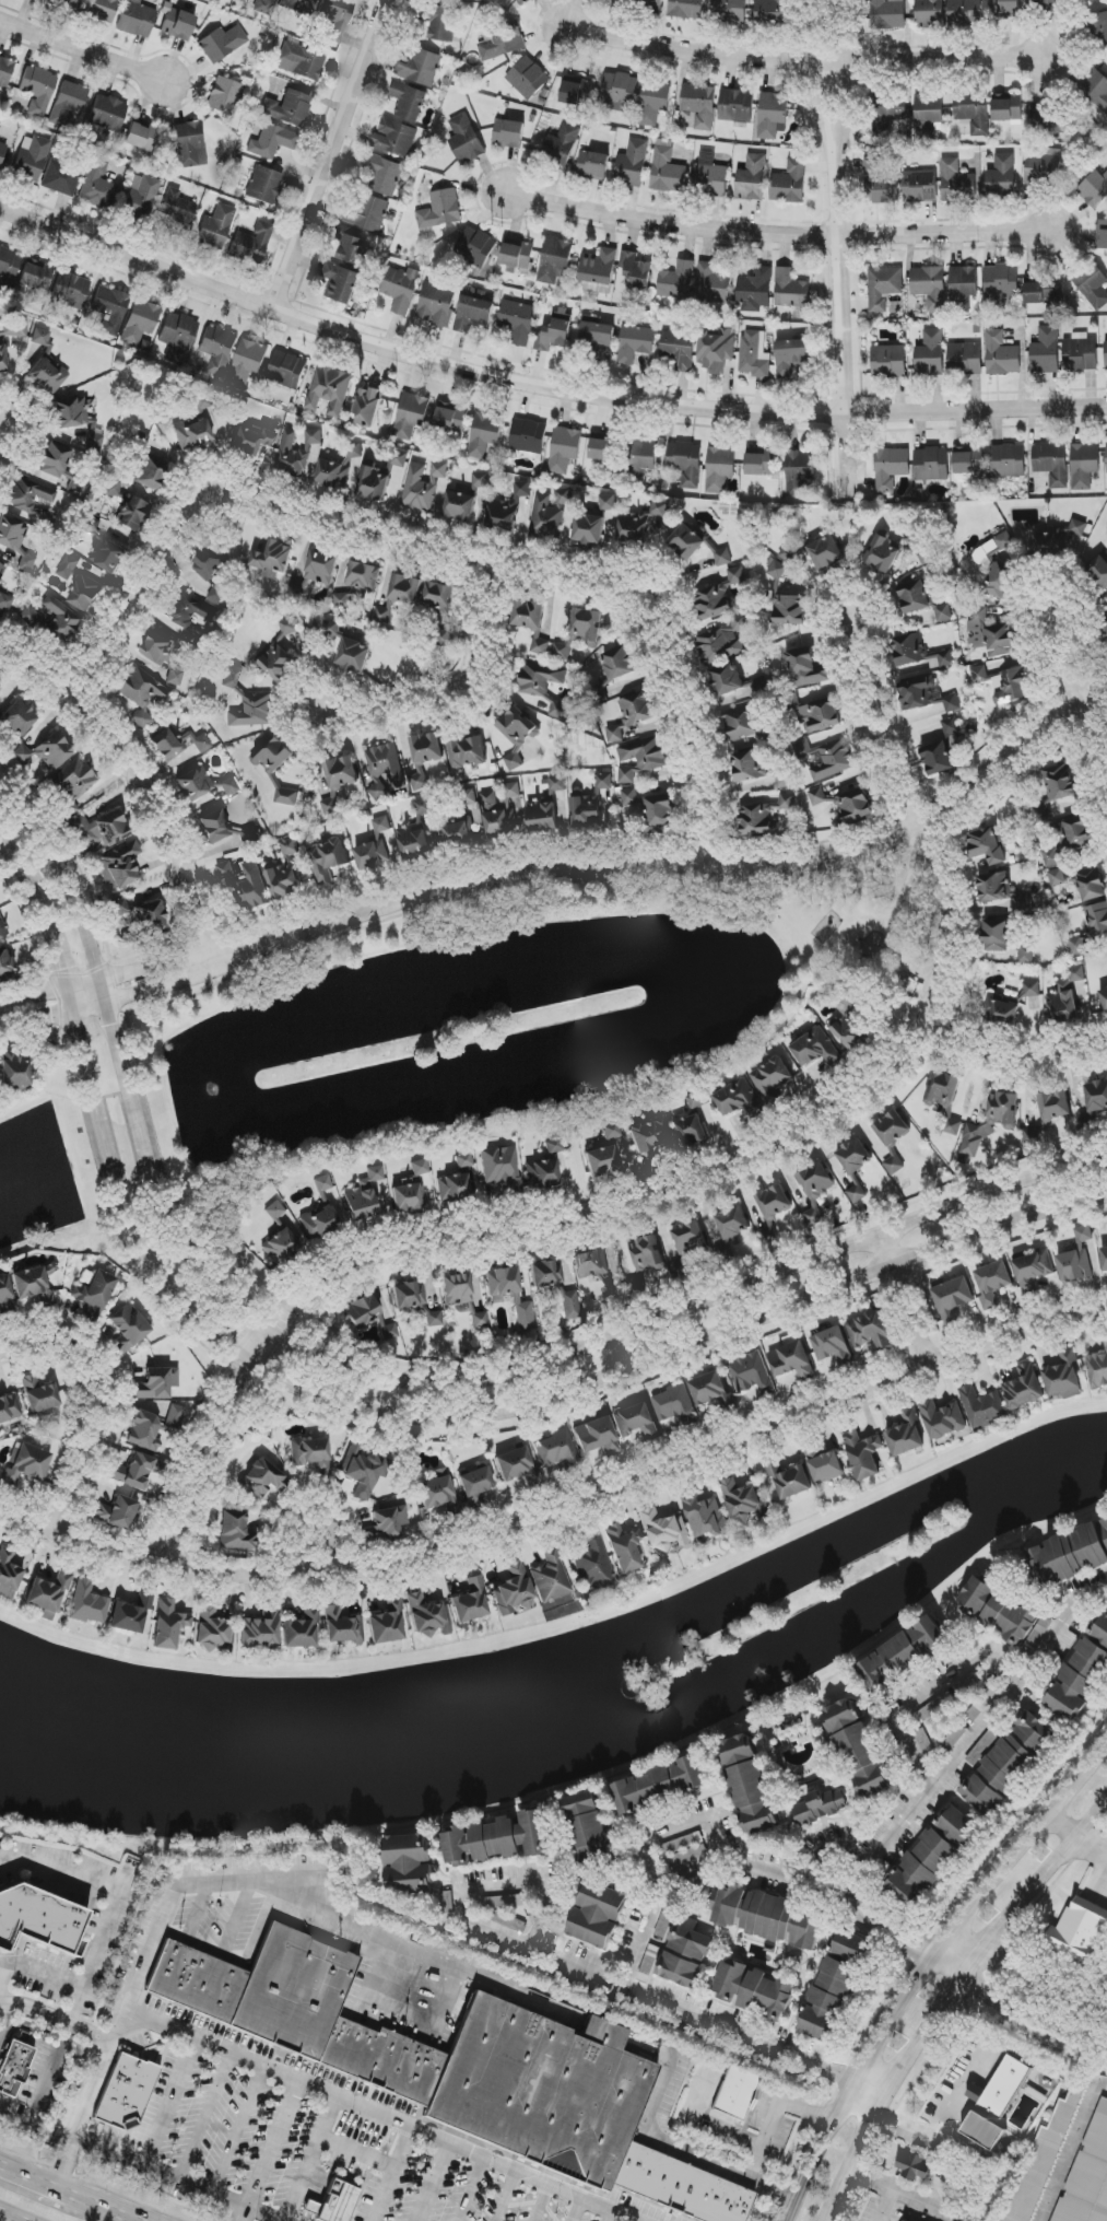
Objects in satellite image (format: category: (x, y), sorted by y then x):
building: (622, 0)
building: (522, 2)
building: (649, 3)
building: (1044, 3)
building: (63, 4)
building: (298, 5)
building: (263, 7)
building: (1005, 8)
building: (103, 9)
building: (686, 9)
building: (729, 10)
building: (773, 11)
building: (965, 12)
building: (930, 13)
building: (887, 14)
building: (335, 17)
building: (137, 19)
building: (178, 24)
building: (443, 24)
building: (1100, 28)
building: (222, 43)
road: (82, 50)
road: (803, 59)
building: (299, 61)
building: (421, 68)
building: (5, 71)
building: (528, 78)
building: (37, 90)
building: (1095, 90)
building: (620, 92)
building: (576, 93)
building: (224, 96)
building: (698, 98)
building: (409, 102)
building: (653, 102)
building: (68, 103)
building: (738, 105)
building: (287, 108)
building: (1008, 108)
building: (973, 112)
building: (107, 113)
building: (928, 115)
building: (773, 116)
building: (887, 116)
building: (1048, 118)
building: (509, 133)
building: (141, 137)
building: (394, 138)
building: (466, 140)
building: (272, 141)
building: (190, 144)
building: (561, 147)
building: (2, 151)
road: (327, 154)
building: (31, 156)
building: (633, 164)
building: (593, 165)
building: (1043, 167)
building: (667, 170)
building: (384, 175)
building: (1002, 175)
building: (61, 177)
building: (710, 179)
building: (752, 179)
building: (790, 183)
building: (880, 183)
building: (956, 183)
building: (263, 185)
building: (97, 186)
building: (920, 187)
building: (1094, 189)
building: (141, 196)
road: (835, 206)
building: (177, 208)
building: (441, 210)
building: (368, 213)
building: (215, 226)
road: (774, 234)
building: (1102, 235)
building: (251, 244)
building: (353, 247)
building: (475, 247)
building: (517, 255)
building: (555, 260)
building: (599, 267)
building: (7, 269)
building: (636, 269)
building: (35, 276)
building: (676, 281)
building: (1001, 281)
building: (341, 283)
building: (715, 283)
building: (930, 287)
building: (884, 288)
building: (964, 288)
building: (401, 289)
building: (70, 290)
building: (755, 290)
building: (790, 290)
building: (1044, 291)
building: (436, 304)
building: (110, 309)
building: (473, 315)
building: (140, 322)
building: (517, 322)
building: (178, 331)
building: (555, 331)
building: (10, 335)
building: (42, 337)
building: (597, 338)
building: (635, 343)
building: (217, 349)
building: (679, 349)
building: (717, 350)
building: (1046, 351)
building: (1080, 353)
building: (930, 354)
building: (1001, 354)
building: (1106, 354)
building: (753, 355)
building: (791, 356)
building: (250, 358)
building: (965, 359)
building: (888, 362)
building: (286, 370)
building: (47, 375)
road: (540, 386)
building: (329, 390)
building: (202, 402)
building: (367, 407)
building: (73, 414)
building: (411, 416)
building: (451, 417)
road: (2, 425)
building: (192, 433)
building: (485, 434)
building: (314, 436)
building: (528, 436)
building: (250, 440)
building: (1106, 443)
building: (565, 449)
building: (601, 449)
building: (354, 451)
building: (291, 456)
building: (645, 456)
road: (840, 458)
building: (968, 460)
building: (1008, 461)
building: (54, 463)
building: (685, 463)
building: (761, 463)
building: (931, 464)
building: (1052, 464)
building: (1084, 465)
building: (892, 466)
building: (720, 468)
building: (151, 472)
building: (800, 474)
building: (333, 475)
building: (380, 477)
building: (481, 480)
building: (422, 487)
building: (113, 488)
building: (28, 494)
building: (607, 502)
building: (460, 506)
building: (508, 509)
building: (132, 513)
building: (550, 513)
building: (48, 521)
building: (640, 523)
road: (333, 525)
building: (588, 529)
building: (1076, 536)
building: (16, 542)
building: (686, 542)
building: (1050, 545)
building: (789, 552)
building: (824, 553)
building: (883, 553)
building: (108, 554)
building: (722, 558)
building: (273, 559)
building: (209, 563)
building: (996, 565)
building: (68, 566)
building: (321, 568)
building: (1, 569)
building: (1099, 571)
building: (737, 575)
building: (774, 575)
building: (357, 584)
building: (405, 589)
building: (219, 591)
building: (85, 594)
building: (914, 597)
building: (714, 601)
building: (4, 604)
building: (439, 607)
building: (789, 609)
road: (132, 611)
building: (189, 613)
building: (384, 613)
building: (943, 613)
building: (54, 620)
building: (531, 622)
building: (1106, 627)
building: (332, 628)
building: (580, 631)
building: (990, 634)
building: (725, 641)
building: (911, 650)
road: (667, 654)
building: (280, 655)
building: (354, 655)
building: (165, 656)
building: (945, 658)
building: (619, 663)
building: (805, 668)
building: (232, 677)
building: (540, 678)
building: (727, 680)
building: (0, 686)
building: (761, 686)
building: (141, 692)
road: (1070, 693)
road: (456, 694)
building: (599, 694)
building: (926, 694)
building: (558, 710)
building: (255, 711)
building: (631, 715)
building: (819, 716)
building: (17, 718)
building: (744, 721)
road: (875, 727)
building: (952, 732)
building: (517, 734)
building: (178, 744)
building: (426, 748)
building: (467, 751)
building: (46, 752)
building: (273, 755)
building: (827, 758)
building: (639, 759)
building: (937, 759)
building: (386, 764)
road: (1070, 764)
building: (751, 765)
building: (341, 772)
building: (419, 780)
road: (136, 781)
building: (604, 781)
building: (73, 783)
building: (195, 783)
building: (1059, 783)
building: (556, 784)
building: (229, 785)
building: (287, 796)
building: (817, 796)
building: (330, 805)
building: (853, 805)
building: (651, 806)
building: (586, 810)
building: (763, 815)
building: (497, 817)
building: (381, 826)
building: (215, 827)
building: (99, 830)
building: (415, 832)
building: (239, 833)
building: (458, 833)
building: (1067, 840)
building: (987, 845)
building: (290, 848)
building: (373, 855)
building: (328, 860)
building: (120, 866)
road: (569, 869)
building: (1057, 877)
building: (283, 880)
building: (246, 884)
building: (1091, 884)
building: (1001, 891)
building: (120, 907)
building: (149, 917)
building: (1092, 927)
building: (2, 928)
building: (996, 936)
park: (857, 940)
building: (1026, 954)
building: (4, 962)
building: (1031, 990)
building: (1065, 997)
building: (1104, 998)
building: (999, 1010)
building: (848, 1024)
building: (815, 1049)
road: (1016, 1059)
building: (14, 1067)
building: (772, 1079)
building: (1096, 1097)
building: (944, 1098)
building: (738, 1099)
building: (1055, 1104)
building: (990, 1122)
building: (892, 1127)
building: (612, 1131)
building: (690, 1132)
building: (649, 1134)
building: (1029, 1136)
building: (554, 1146)
building: (853, 1156)
building: (603, 1158)
building: (464, 1160)
building: (894, 1162)
building: (420, 1167)
building: (500, 1167)
building: (542, 1173)
building: (815, 1181)
building: (322, 1183)
building: (456, 1188)
building: (857, 1194)
building: (364, 1195)
building: (409, 1196)
building: (774, 1201)
building: (274, 1211)
building: (812, 1217)
road: (585, 1220)
building: (320, 1221)
building: (730, 1224)
building: (768, 1234)
building: (281, 1246)
building: (687, 1247)
building: (647, 1254)
building: (1076, 1258)
building: (1104, 1259)
building: (591, 1264)
building: (1033, 1270)
building: (546, 1273)
building: (503, 1282)
building: (992, 1283)
building: (34, 1284)
building: (616, 1289)
building: (95, 1293)
building: (5, 1296)
building: (461, 1297)
building: (952, 1298)
building: (415, 1302)
road: (903, 1302)
building: (570, 1305)
building: (525, 1314)
building: (369, 1316)
building: (128, 1328)
building: (869, 1331)
building: (832, 1346)
building: (791, 1361)
building: (1097, 1369)
building: (751, 1373)
building: (1064, 1376)
road: (396, 1377)
building: (156, 1383)
building: (1024, 1388)
building: (711, 1391)
building: (38, 1394)
building: (674, 1404)
building: (9, 1407)
building: (982, 1407)
road: (95, 1408)
building: (176, 1415)
road: (396, 1415)
building: (943, 1419)
building: (636, 1422)
building: (144, 1430)
building: (906, 1435)
building: (597, 1436)
building: (556, 1449)
building: (311, 1453)
building: (863, 1454)
building: (25, 1463)
building: (824, 1464)
building: (518, 1466)
building: (136, 1471)
building: (363, 1471)
building: (261, 1478)
building: (789, 1481)
building: (475, 1485)
building: (436, 1489)
building: (744, 1501)
road: (587, 1504)
building: (117, 1512)
building: (704, 1517)
building: (386, 1524)
road: (25, 1526)
building: (1104, 1527)
building: (666, 1530)
building: (235, 1531)
road: (311, 1547)
building: (624, 1547)
building: (1068, 1556)
building: (593, 1563)
building: (9, 1573)
building: (551, 1577)
building: (514, 1590)
building: (48, 1594)
building: (470, 1601)
building: (89, 1604)
building: (998, 1610)
building: (131, 1614)
building: (427, 1615)
building: (387, 1622)
building: (168, 1624)
building: (342, 1626)
building: (302, 1629)
building: (1100, 1629)
building: (210, 1630)
building: (903, 1653)
building: (1076, 1681)
road: (934, 1695)
building: (986, 1699)
building: (935, 1706)
building: (1035, 1732)
building: (955, 1735)
building: (925, 1742)
building: (859, 1749)
building: (1008, 1763)
building: (751, 1784)
building: (660, 1785)
building: (981, 1795)
building: (821, 1807)
road: (914, 1809)
building: (958, 1826)
building: (590, 1830)
building: (499, 1838)
road: (1080, 1842)
building: (684, 1850)
road: (645, 1851)
building: (409, 1865)
building: (922, 1868)
road: (557, 1891)
building: (447, 1902)
building: (505, 1902)
building: (598, 1915)
road: (899, 1916)
road: (973, 1916)
building: (768, 1917)
building: (38, 1918)
road: (107, 1921)
building: (508, 1921)
building: (1080, 1930)
building: (691, 1941)
road: (407, 1945)
building: (850, 1947)
road: (140, 1957)
road: (986, 1959)
building: (680, 1971)
building: (752, 1990)
building: (827, 1999)
road: (1022, 2007)
building: (293, 2008)
road: (396, 2013)
road: (694, 2019)
road: (55, 2021)
road: (7, 2022)
road: (603, 2031)
road: (55, 2062)
building: (14, 2068)
building: (539, 2090)
building: (735, 2093)
building: (122, 2095)
road: (870, 2100)
road: (169, 2102)
building: (994, 2103)
road: (366, 2109)
road: (864, 2109)
road: (777, 2114)
road: (943, 2119)
road: (36, 2125)
road: (663, 2146)
road: (1070, 2148)
road: (271, 2151)
road: (821, 2155)
building: (1044, 2160)
road: (13, 2167)
building: (915, 2167)
road: (856, 2169)
road: (13, 2173)
building: (1088, 2174)
road: (178, 2177)
road: (48, 2183)
road: (437, 2184)
road: (892, 2186)
building: (676, 2188)
building: (334, 2204)
road: (105, 2207)
road: (10, 2217)
road: (624, 2219)

